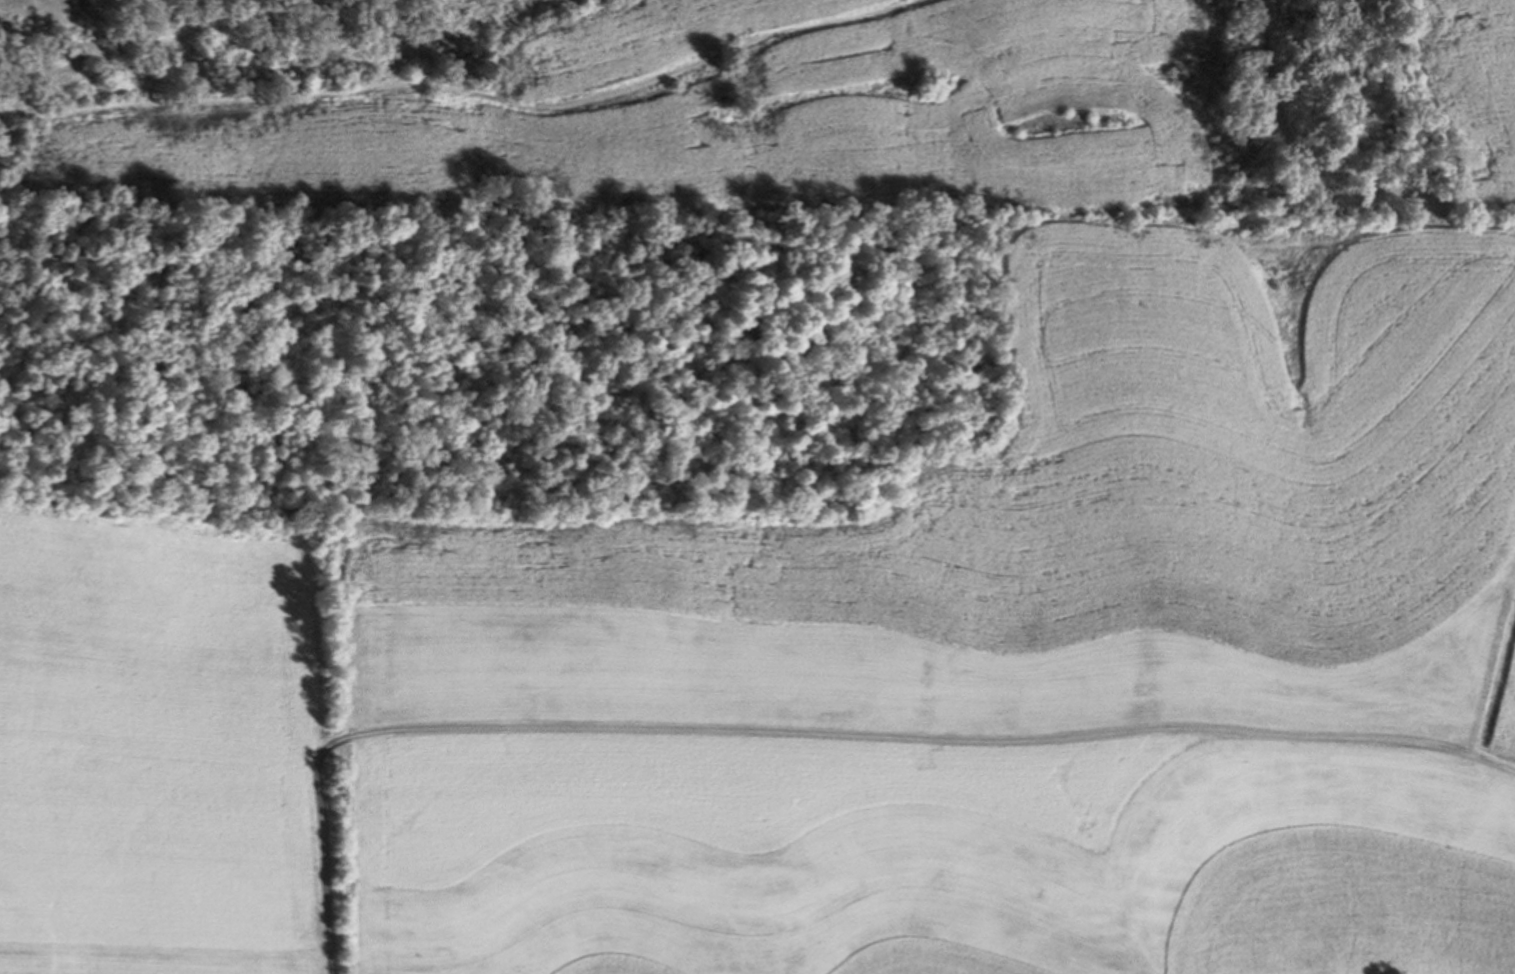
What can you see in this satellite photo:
road: (323, 852)

